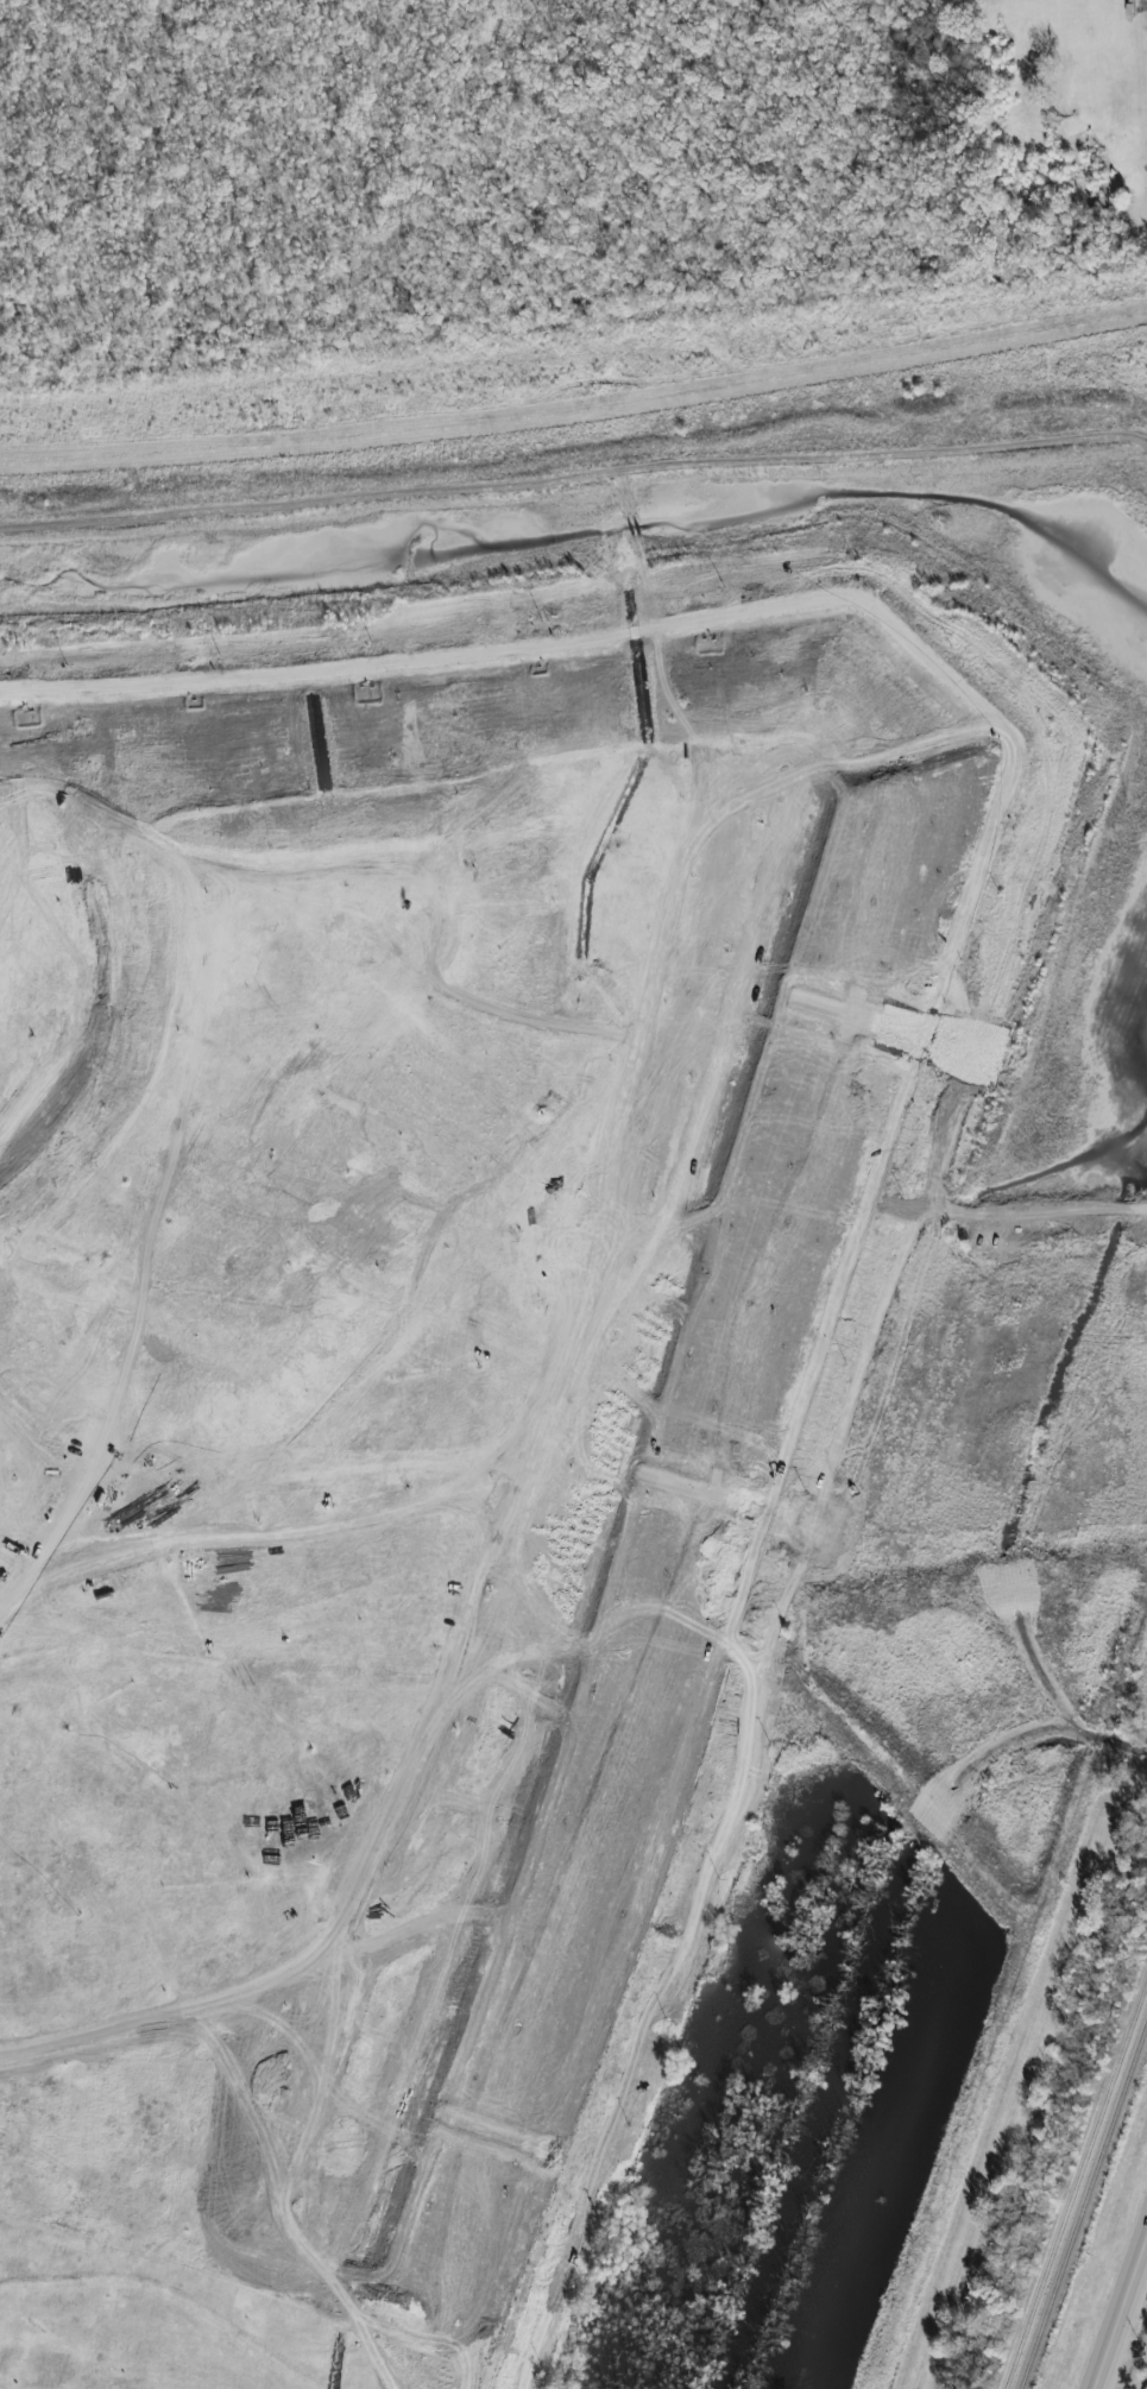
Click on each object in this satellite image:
road: (1107, 1212)
landfill: (446, 1451)
railway: (1077, 2182)
railway: (1083, 2204)
road: (1118, 2307)

